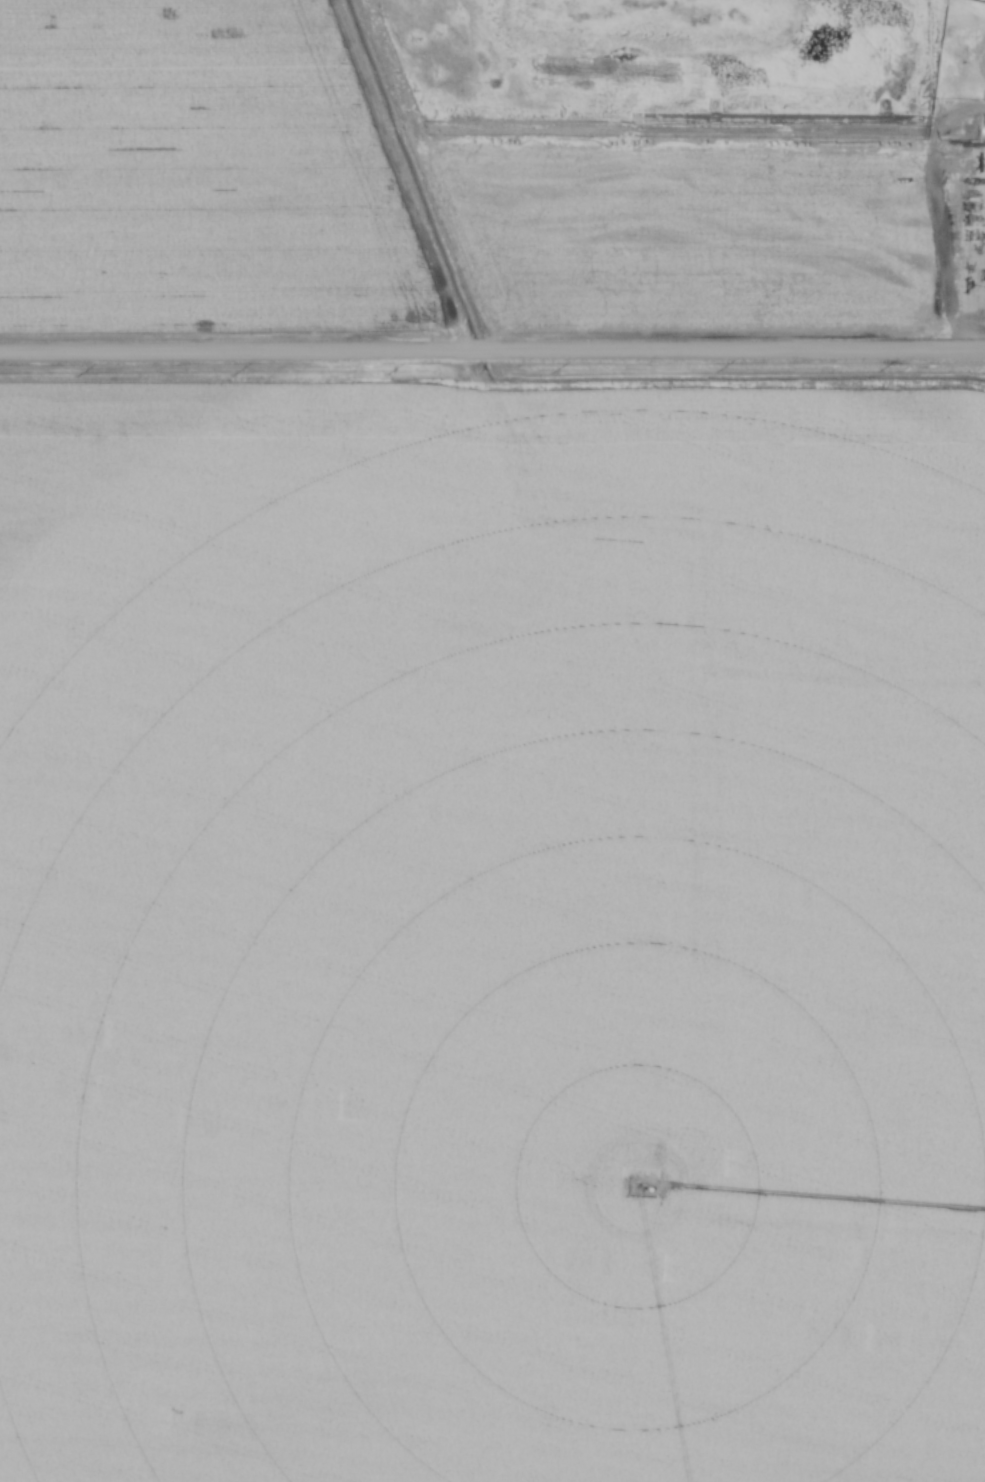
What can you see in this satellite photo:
building: (983, 131)
road: (492, 352)

